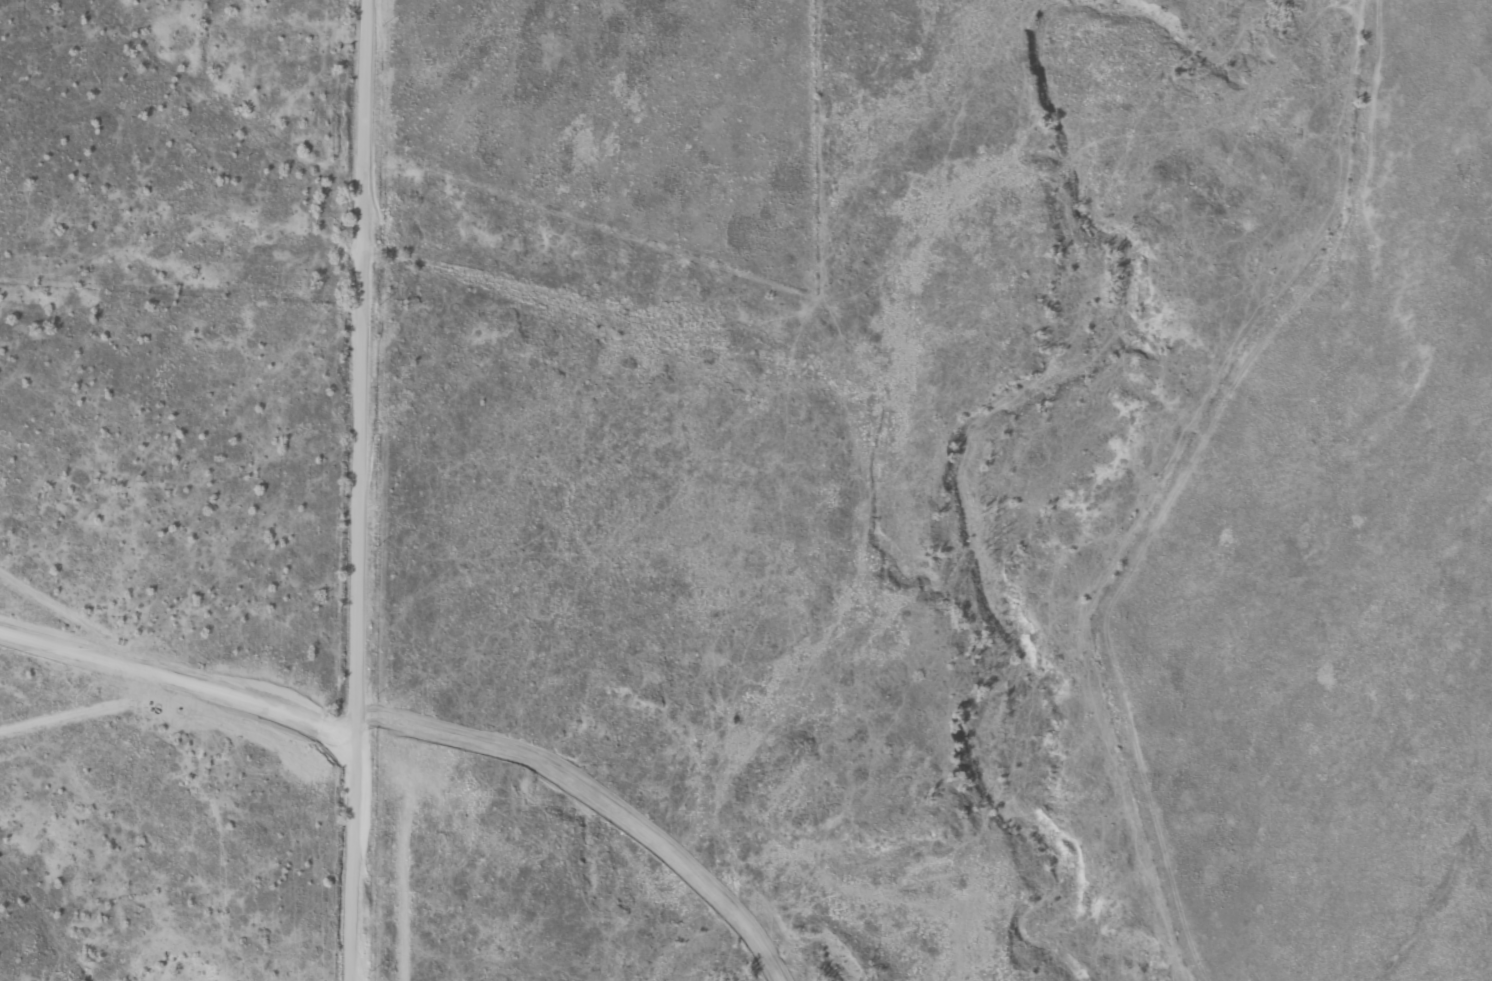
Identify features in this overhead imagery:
road: (385, 490)
road: (187, 693)

